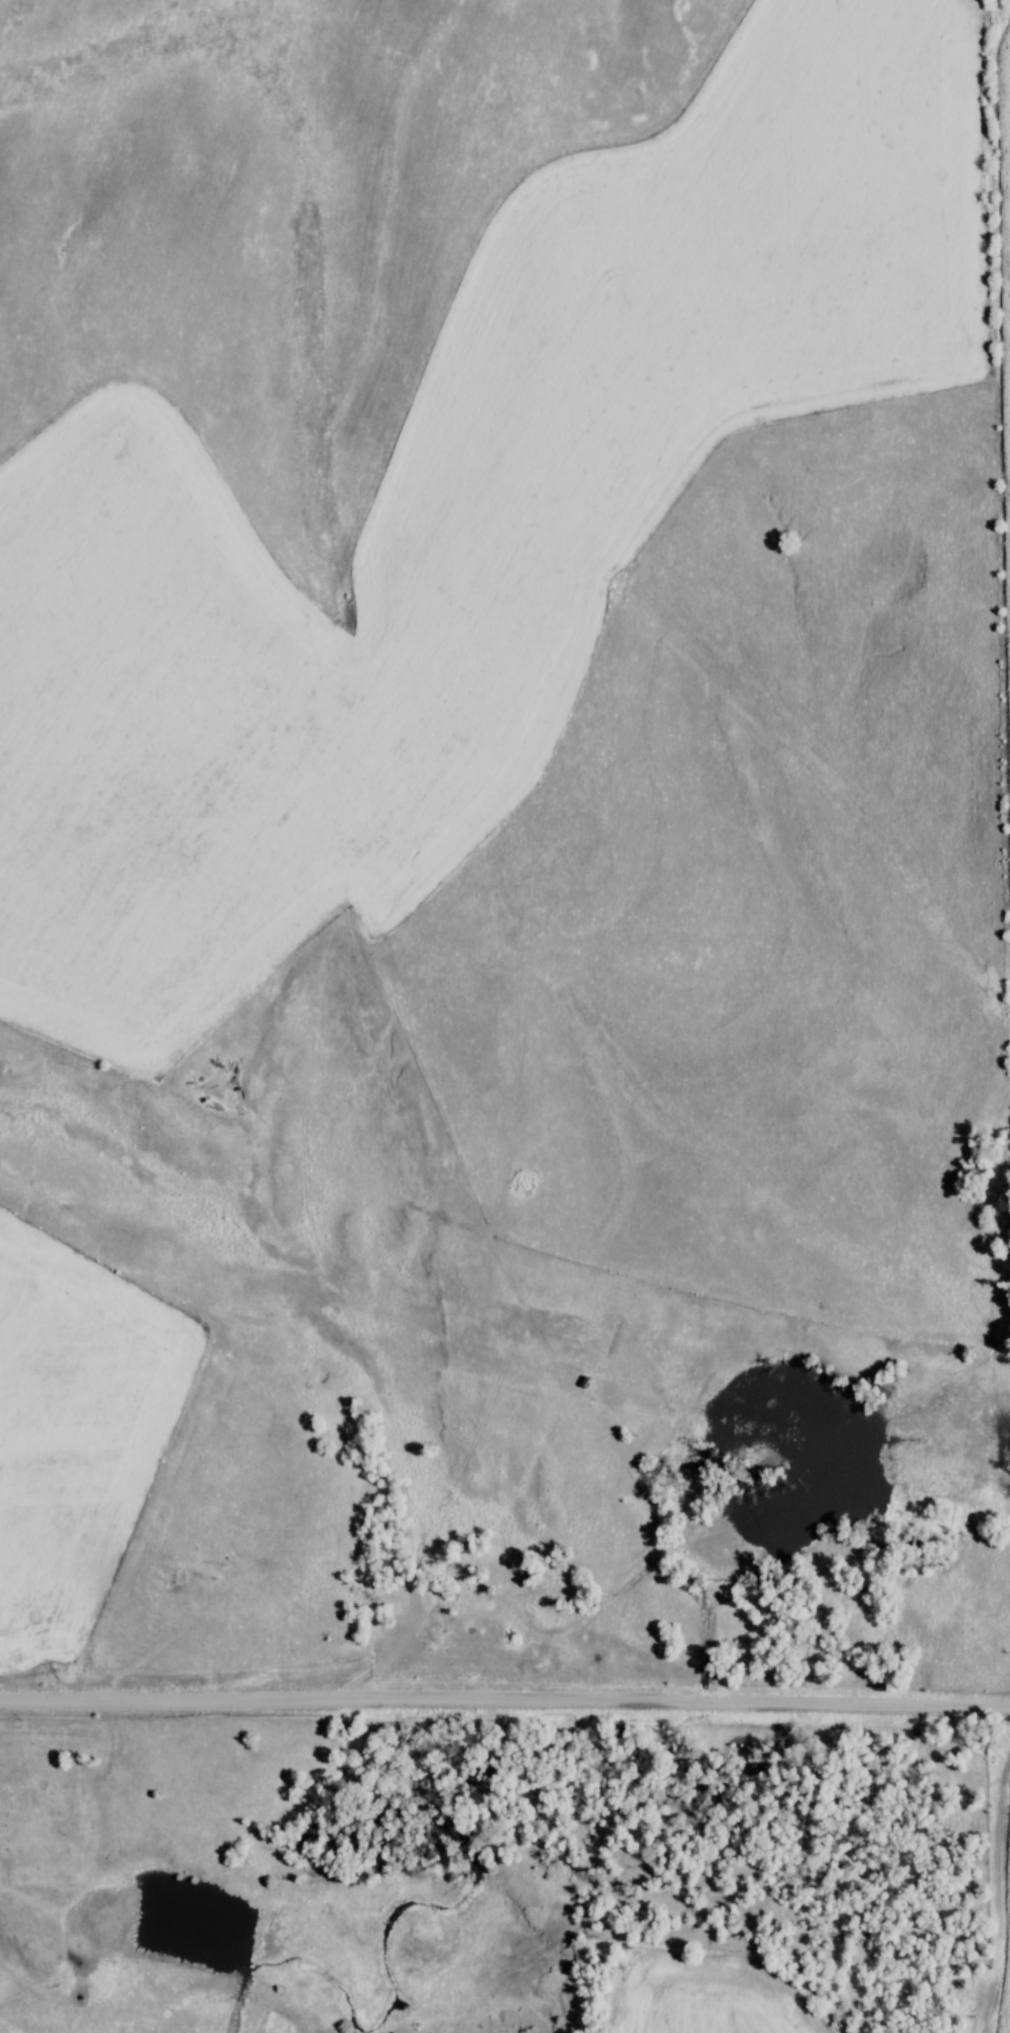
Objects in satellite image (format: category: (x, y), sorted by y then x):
road: (505, 1700)

